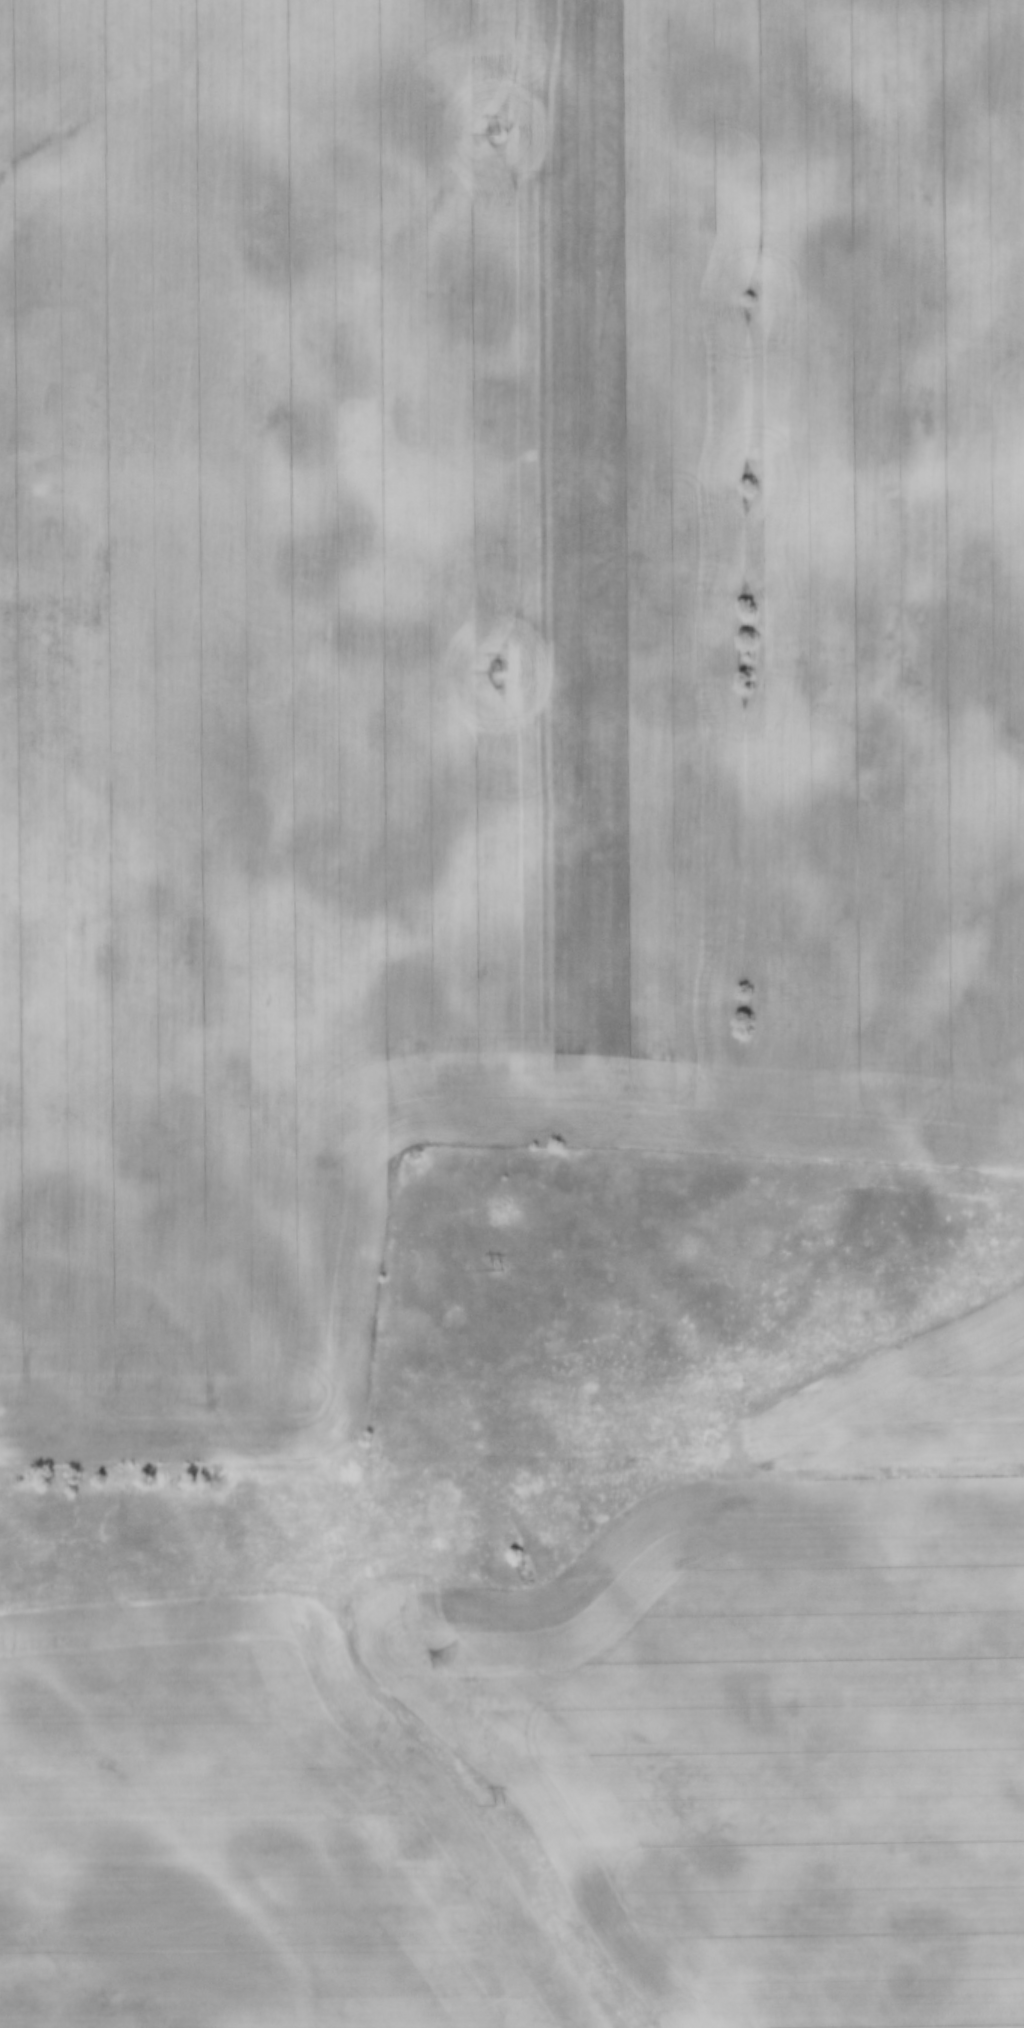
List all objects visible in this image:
power tower: (494, 135)
power tower: (497, 673)
power tower: (497, 1268)
power tower: (497, 1804)

